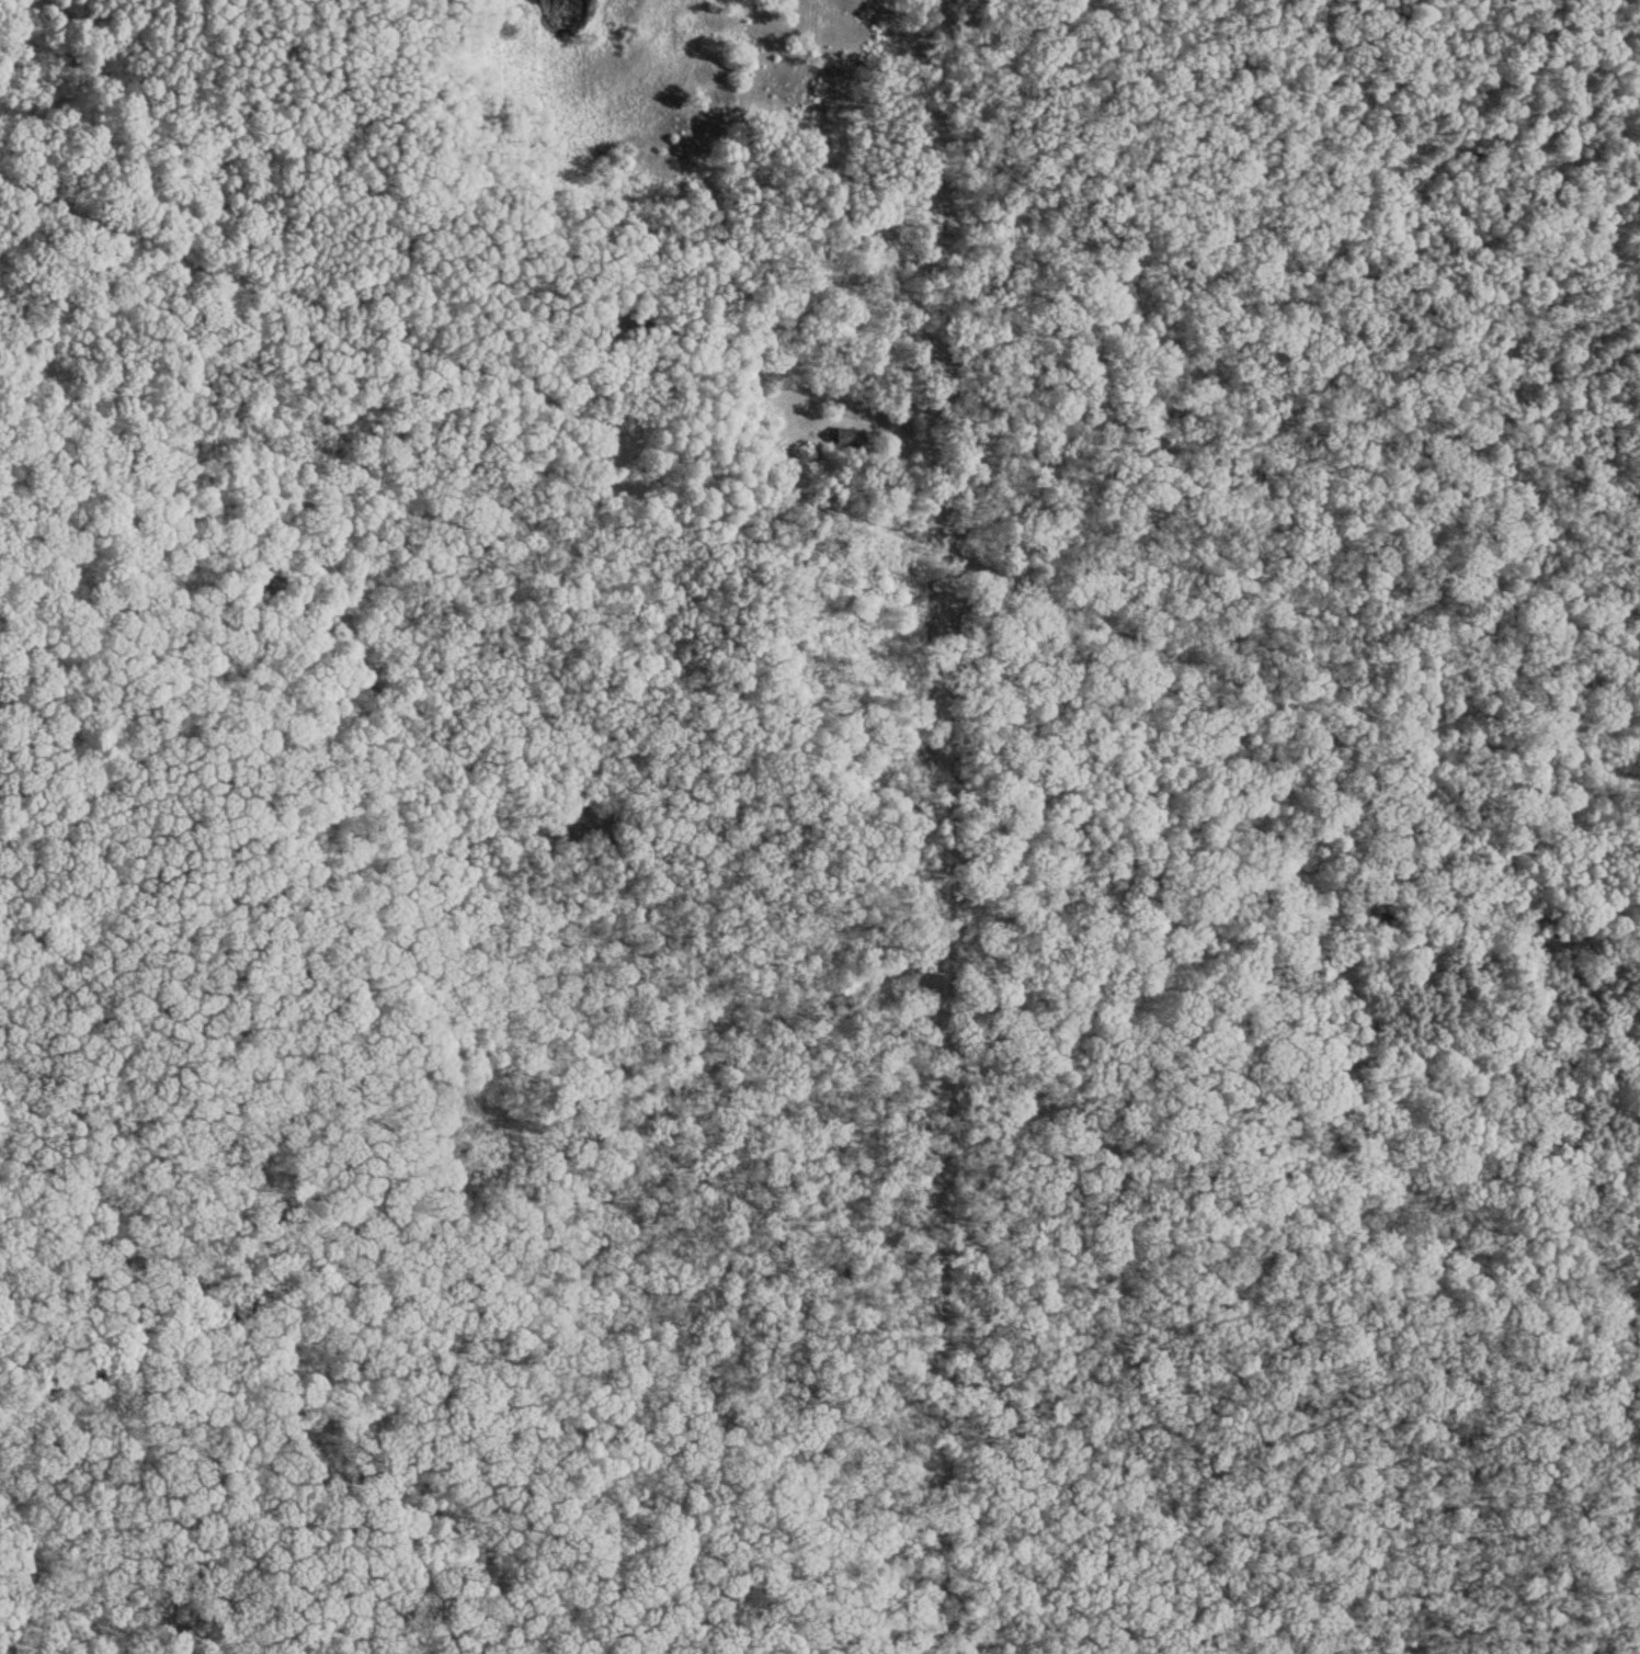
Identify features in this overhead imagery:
road: (468, 359)
building: (849, 438)
road: (1277, 684)
road: (933, 826)

